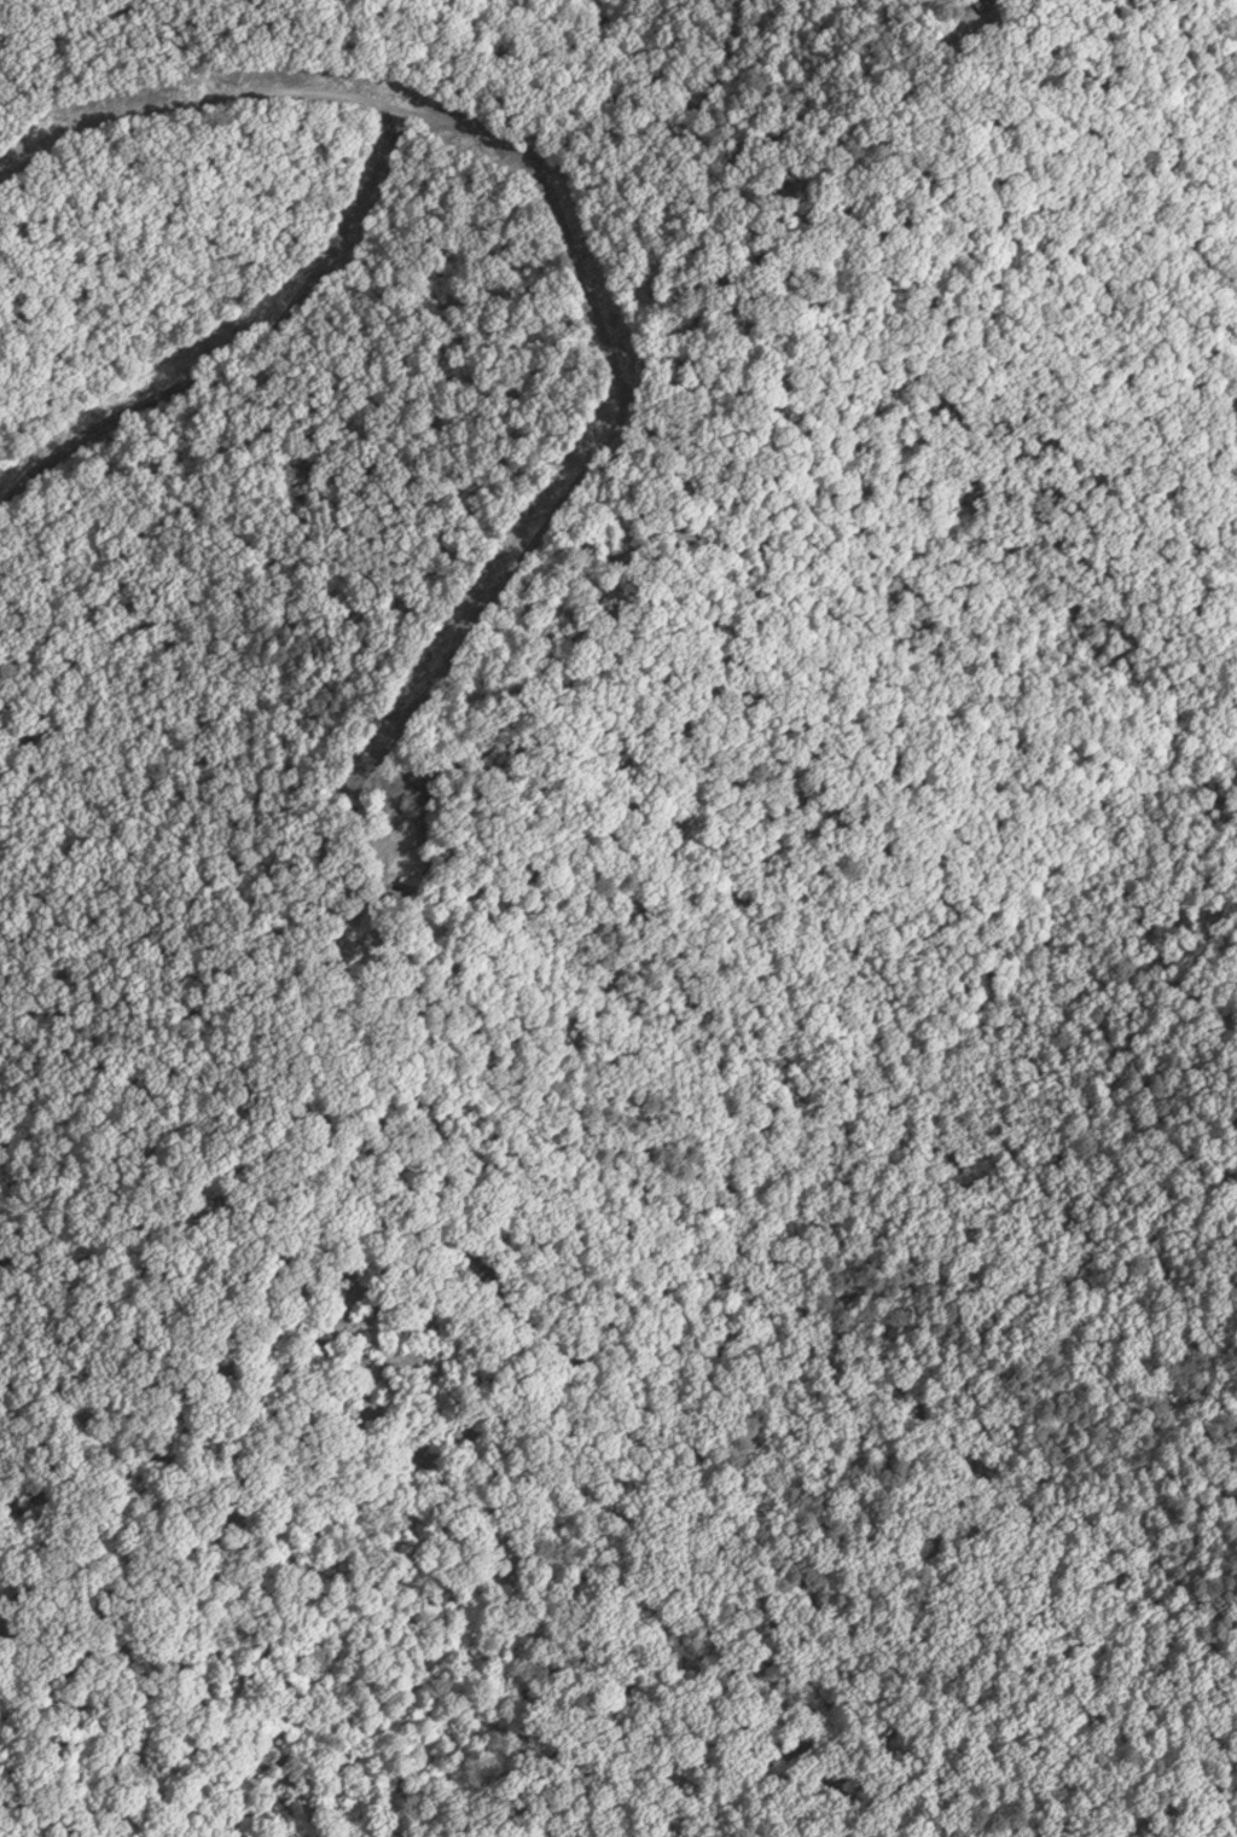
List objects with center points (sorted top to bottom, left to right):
road: (197, 108)
road: (612, 135)
road: (245, 358)
road: (576, 480)

